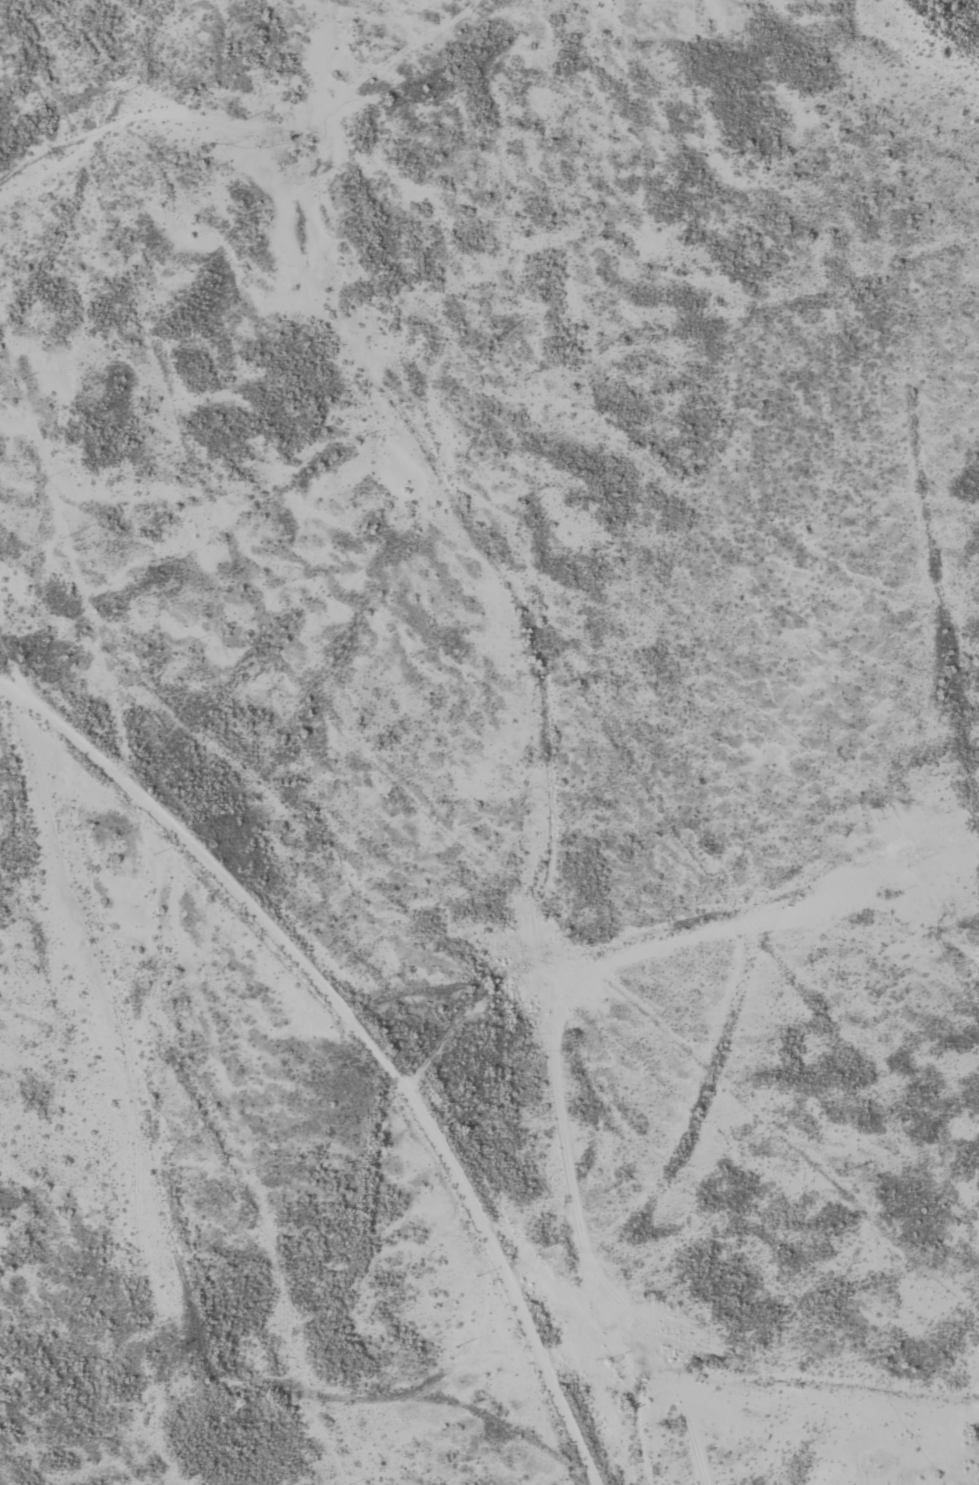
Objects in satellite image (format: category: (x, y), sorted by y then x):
road: (233, 125)
road: (16, 669)
road: (666, 925)
road: (362, 1038)

